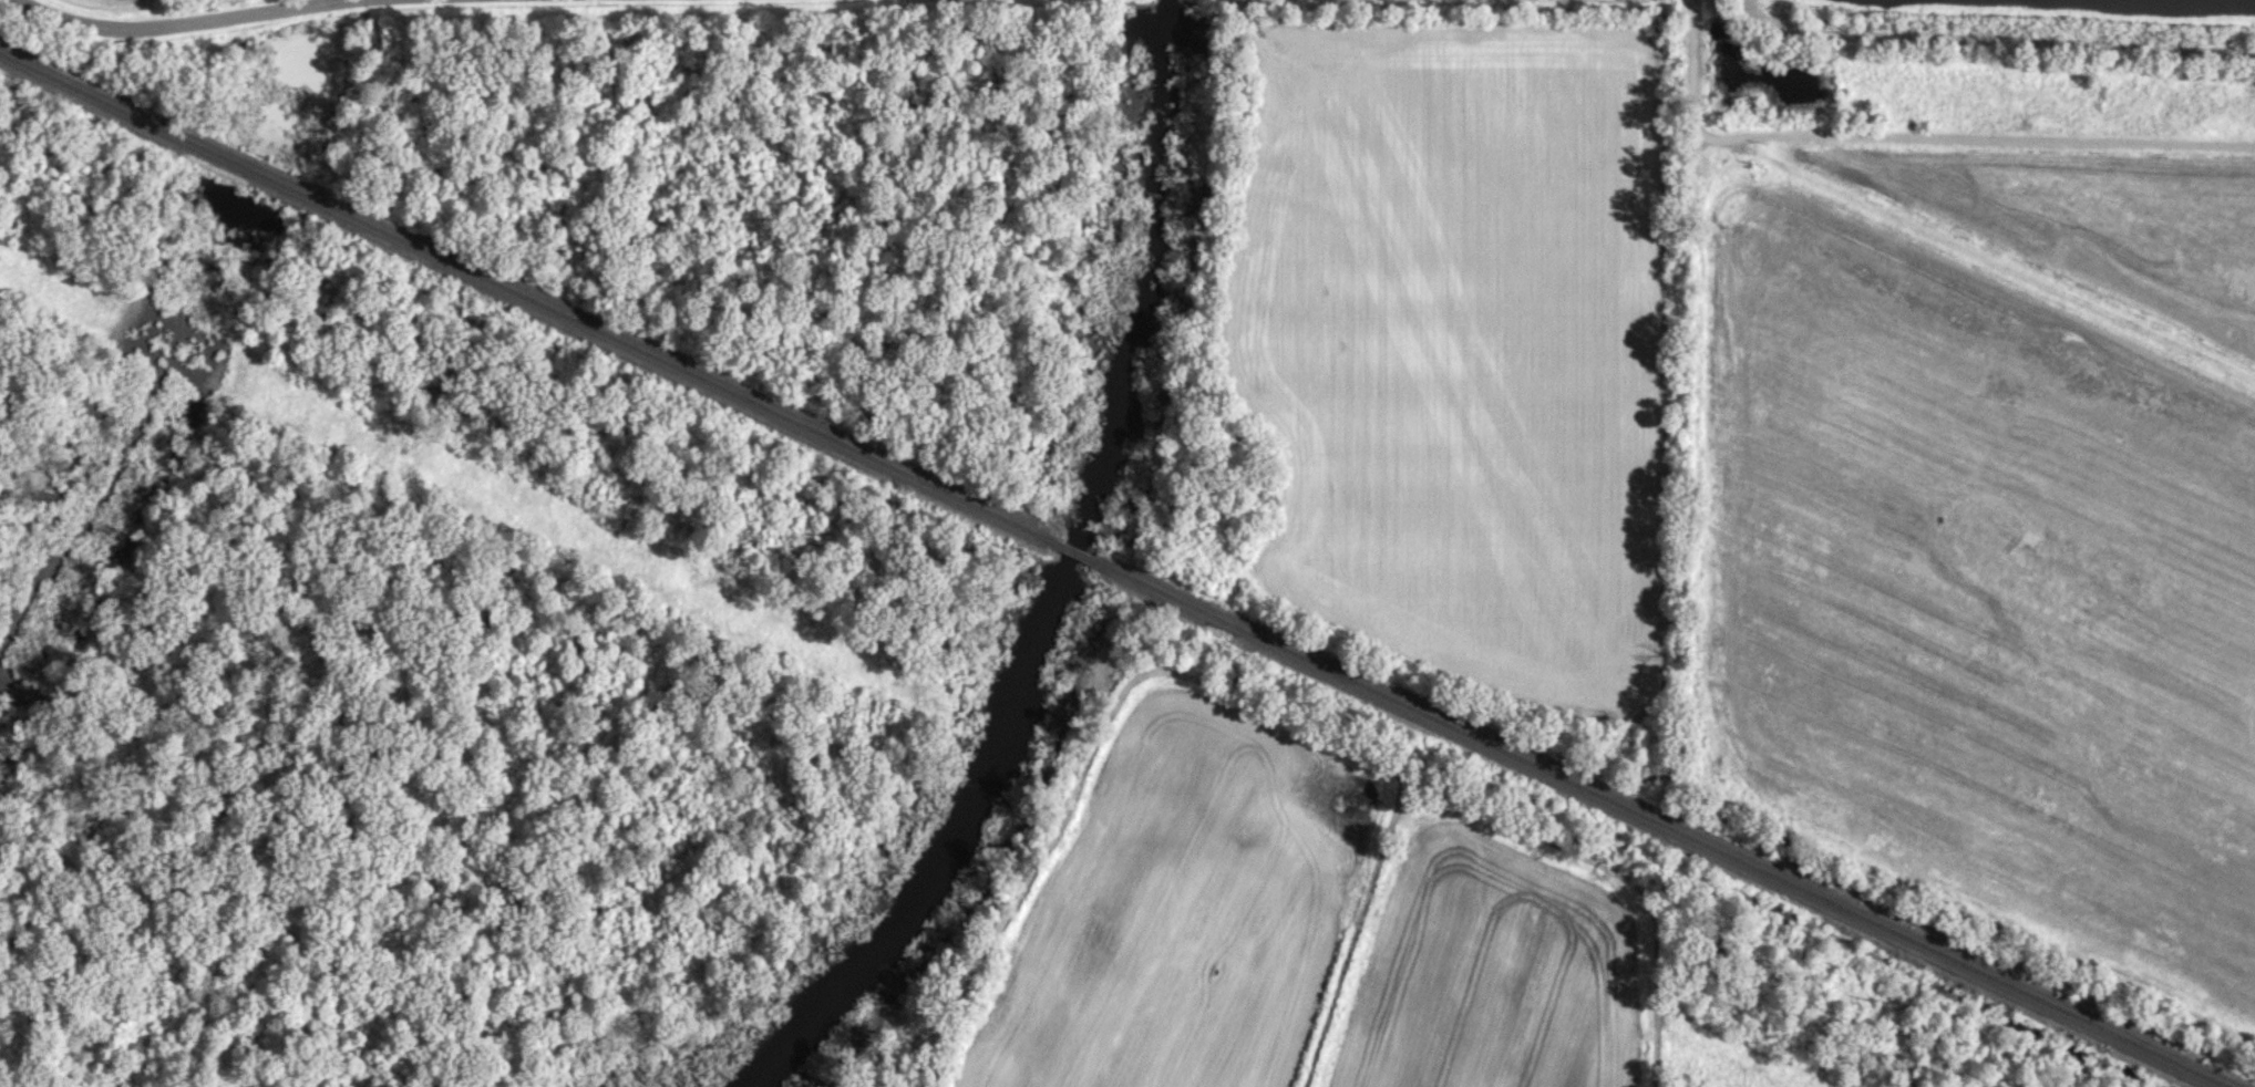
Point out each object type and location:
road: (192, 20)
road: (1691, 72)
road: (1985, 135)
railway: (522, 296)
railway: (1075, 552)
railway: (1667, 827)

